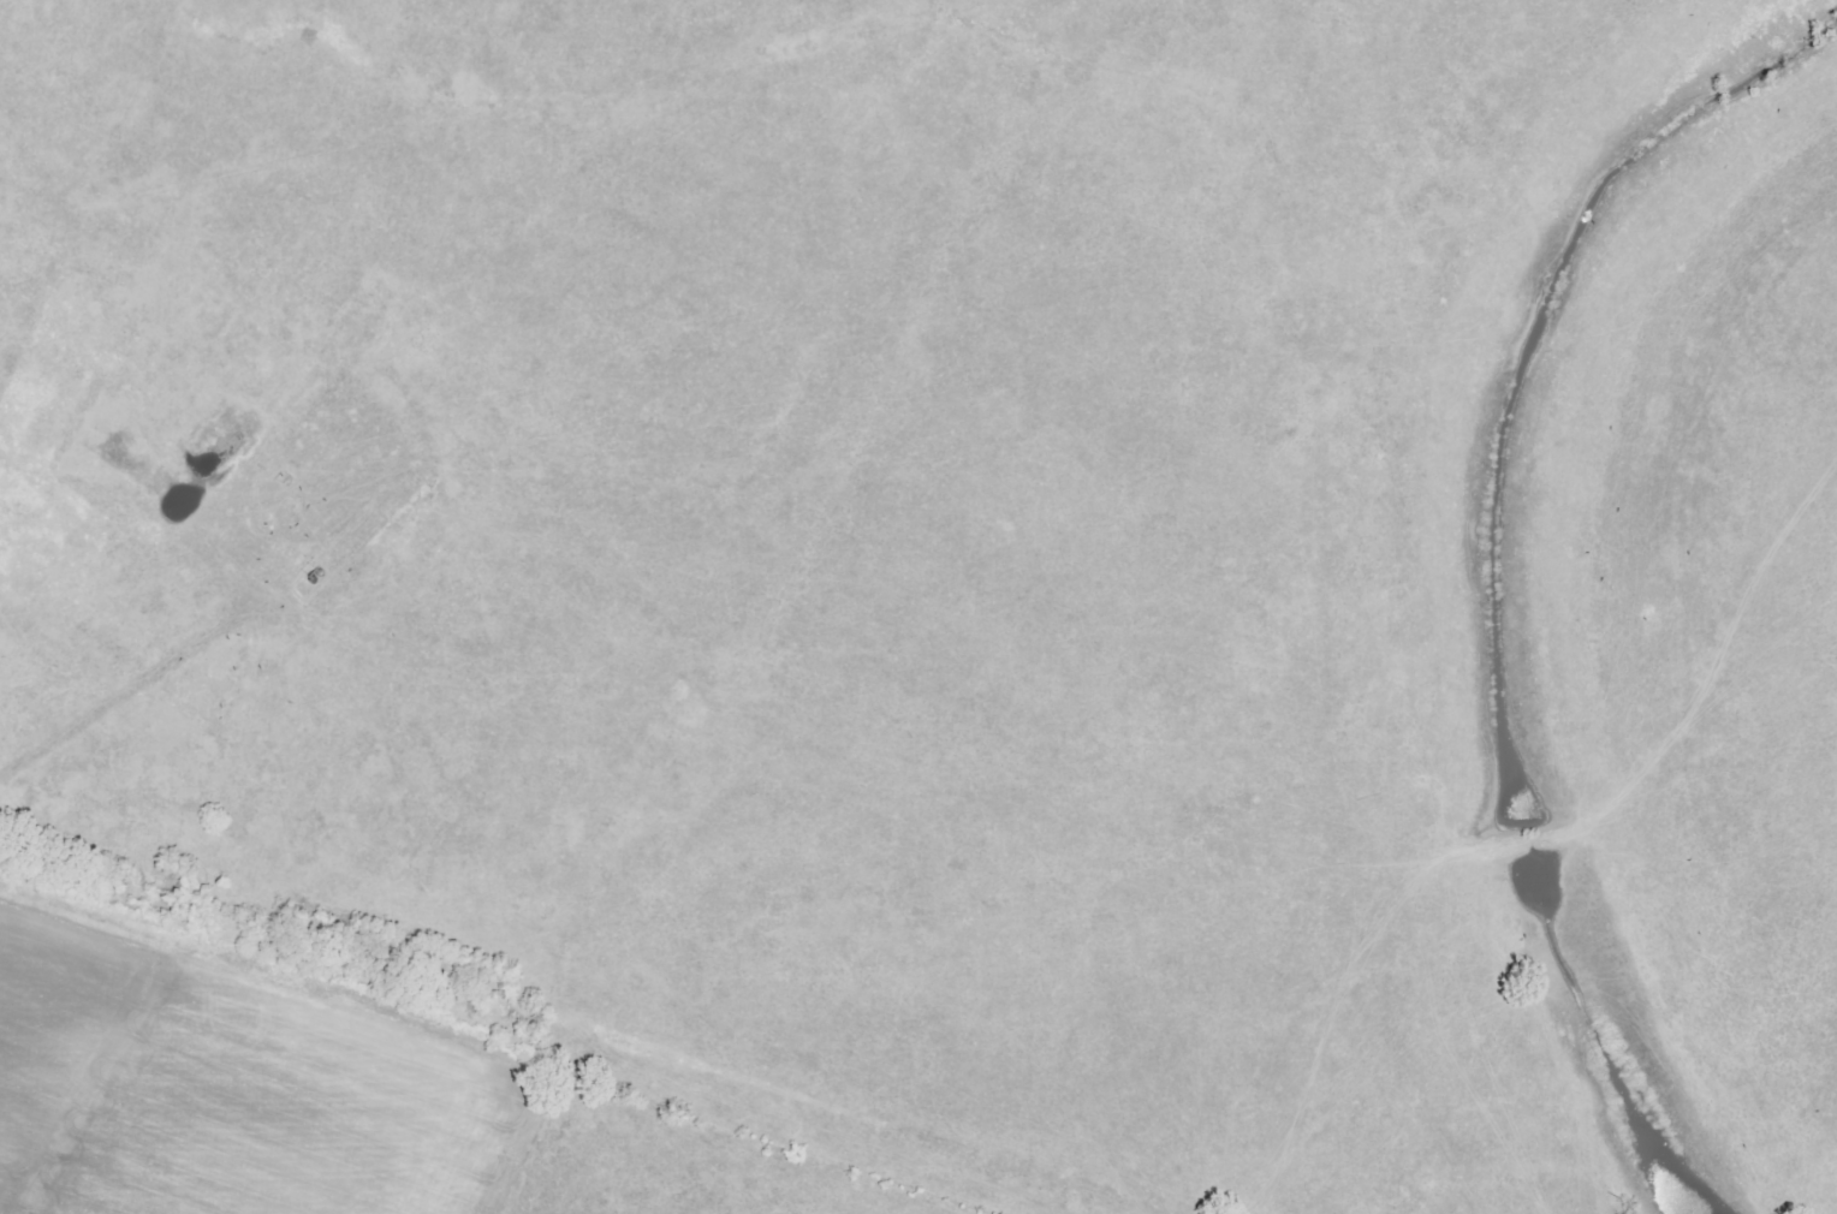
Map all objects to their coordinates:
railway: (546, 1037)

